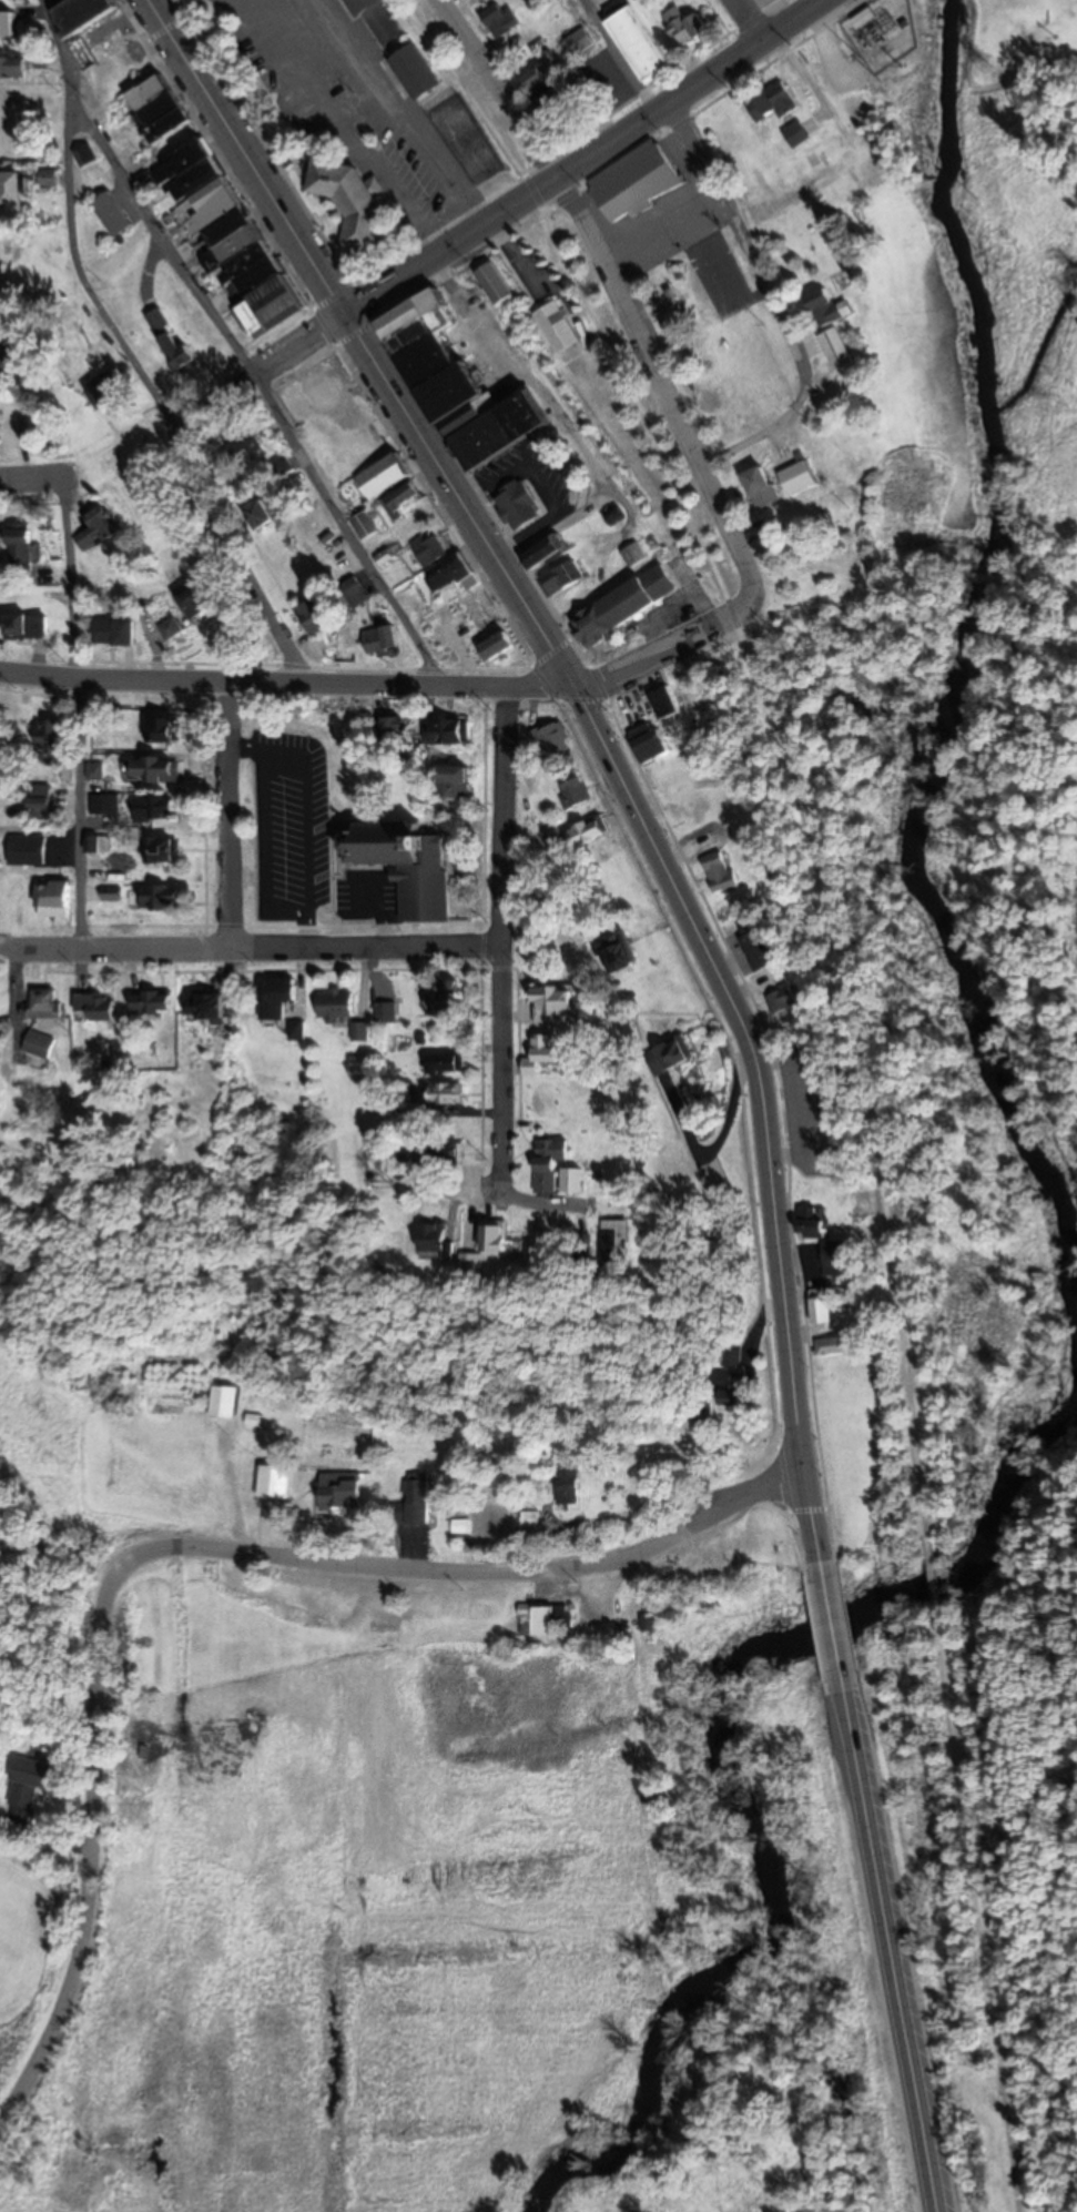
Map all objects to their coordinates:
building: (81, 14)
building: (865, 19)
building: (501, 21)
building: (376, 22)
road: (746, 22)
building: (8, 26)
building: (687, 28)
power substation: (884, 32)
building: (580, 42)
building: (637, 42)
road: (621, 55)
building: (13, 69)
building: (416, 73)
road: (697, 85)
building: (546, 87)
road: (499, 90)
building: (8, 101)
building: (773, 103)
building: (796, 135)
building: (9, 144)
building: (85, 154)
building: (189, 170)
building: (48, 178)
building: (634, 182)
building: (11, 190)
building: (352, 202)
building: (112, 214)
road: (72, 221)
road: (456, 244)
road: (748, 246)
building: (495, 283)
building: (827, 307)
building: (271, 310)
building: (558, 327)
road: (357, 336)
building: (171, 342)
building: (837, 349)
building: (9, 363)
road: (525, 368)
road: (256, 382)
road: (663, 383)
building: (453, 388)
building: (106, 391)
building: (318, 401)
road: (179, 416)
building: (464, 417)
building: (501, 428)
building: (242, 438)
road: (760, 438)
building: (385, 475)
building: (800, 477)
building: (763, 487)
building: (402, 499)
building: (519, 506)
building: (258, 512)
building: (367, 525)
building: (99, 529)
building: (19, 544)
building: (430, 549)
building: (545, 552)
road: (233, 553)
building: (388, 559)
building: (454, 574)
building: (563, 578)
building: (353, 593)
building: (196, 599)
building: (623, 606)
building: (315, 617)
building: (26, 626)
building: (115, 632)
building: (382, 639)
building: (496, 645)
road: (672, 648)
river: (964, 657)
road: (252, 681)
road: (576, 683)
road: (538, 684)
building: (665, 701)
road: (78, 711)
building: (396, 727)
building: (166, 728)
building: (450, 730)
road: (778, 731)
building: (48, 738)
building: (552, 740)
building: (649, 741)
building: (158, 768)
building: (453, 779)
building: (577, 788)
building: (37, 800)
building: (156, 807)
building: (699, 810)
road: (228, 815)
building: (590, 830)
building: (384, 842)
building: (165, 848)
building: (27, 849)
building: (721, 872)
building: (159, 896)
building: (53, 897)
road: (504, 942)
building: (758, 947)
road: (251, 949)
building: (620, 950)
building: (276, 997)
building: (446, 998)
building: (785, 1000)
building: (153, 1001)
building: (561, 1001)
building: (47, 1002)
building: (336, 1004)
building: (95, 1007)
building: (211, 1011)
building: (387, 1012)
building: (362, 1031)
building: (40, 1044)
building: (543, 1051)
building: (674, 1053)
building: (447, 1062)
building: (448, 1092)
building: (551, 1102)
road: (765, 1118)
building: (444, 1152)
building: (550, 1164)
building: (814, 1221)
building: (495, 1236)
building: (435, 1240)
building: (616, 1241)
building: (583, 1243)
building: (837, 1257)
building: (823, 1305)
building: (834, 1345)
building: (732, 1356)
building: (730, 1386)
building: (223, 1401)
building: (273, 1482)
building: (566, 1484)
building: (339, 1489)
building: (412, 1502)
building: (528, 1522)
road: (180, 1548)
road: (935, 1570)
building: (545, 1619)
road: (834, 1636)
river: (746, 1761)
building: (28, 1782)
road: (982, 1907)
road: (890, 1952)

